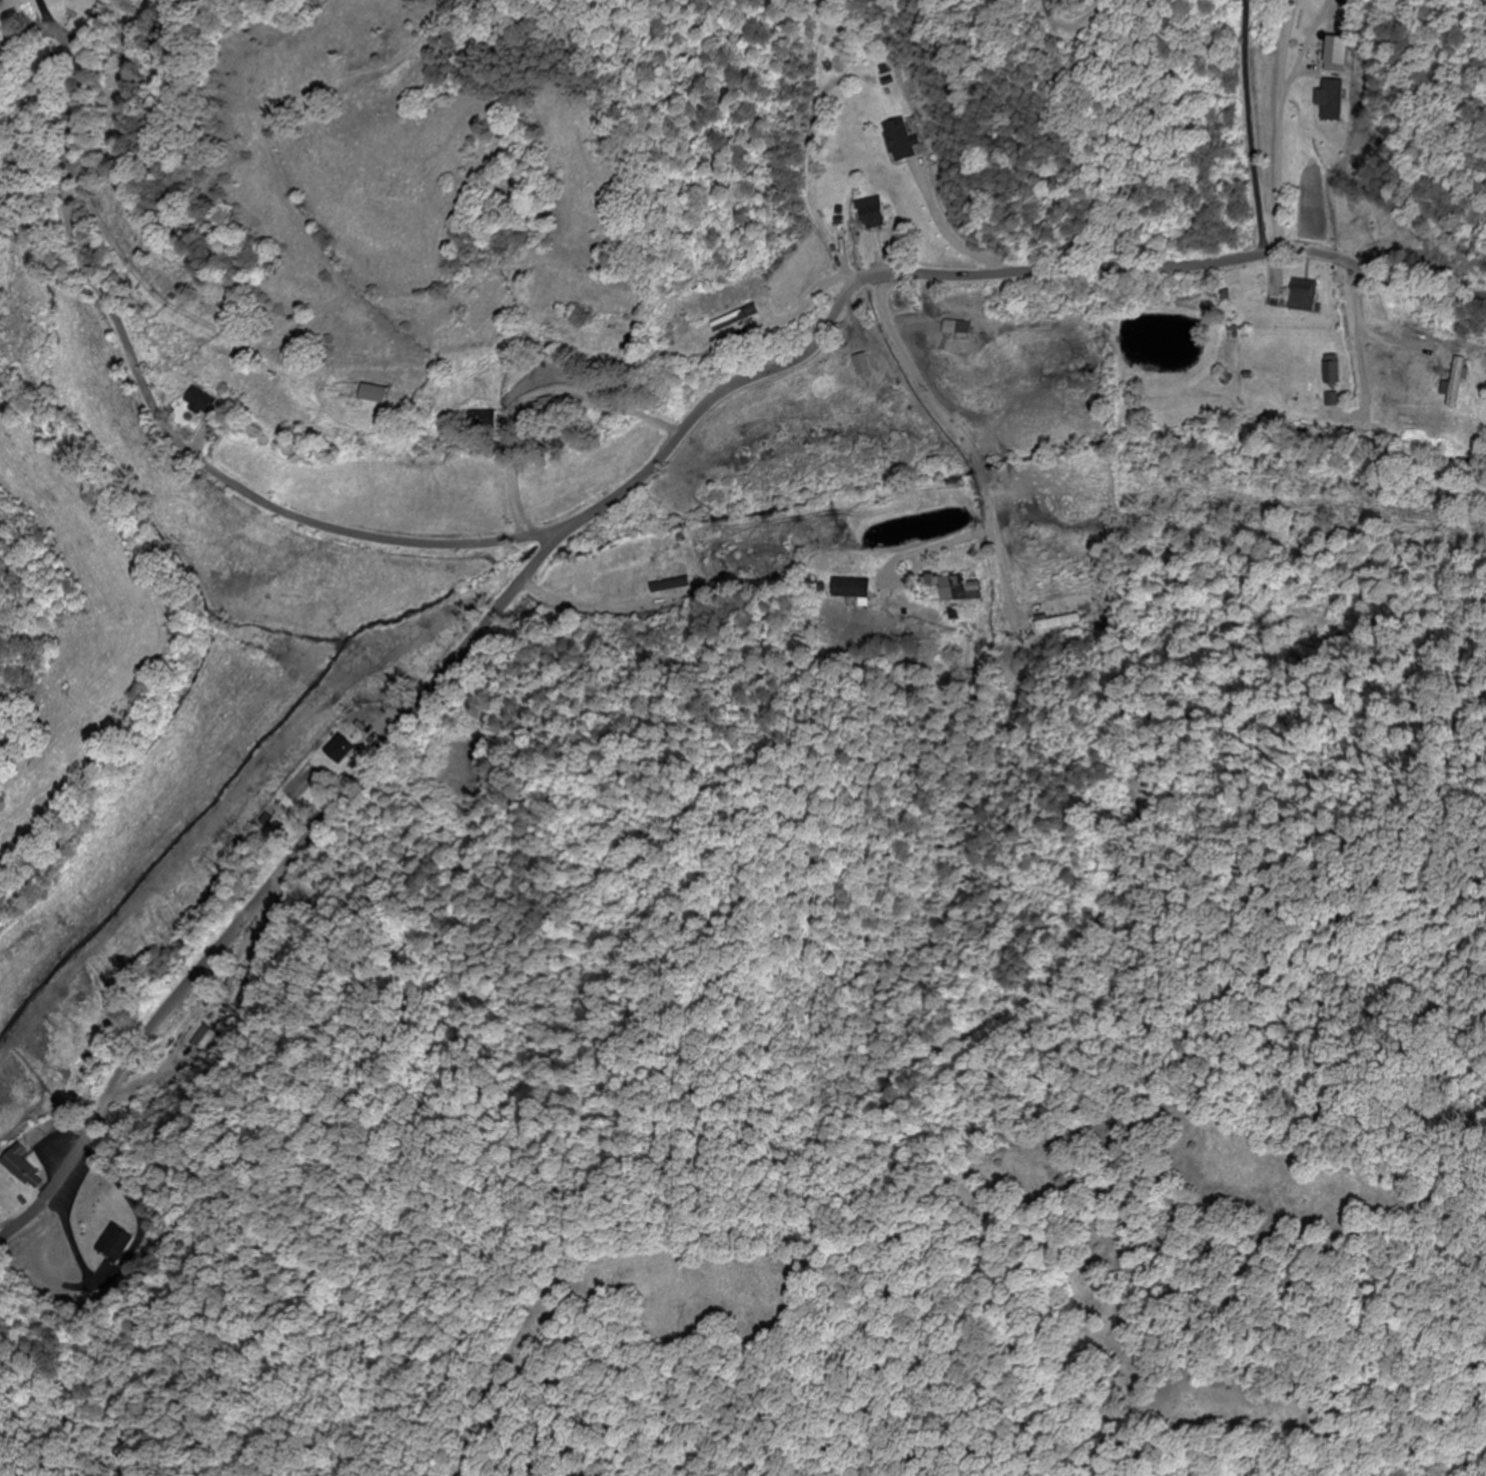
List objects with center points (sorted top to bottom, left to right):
road: (1071, 24)
building: (1338, 63)
road: (1259, 128)
building: (899, 141)
building: (870, 215)
building: (1305, 297)
building: (736, 320)
building: (1332, 371)
building: (1456, 383)
building: (374, 394)
building: (197, 402)
road: (150, 403)
building: (551, 406)
road: (958, 428)
road: (615, 497)
building: (858, 589)
building: (957, 589)
building: (667, 590)
building: (1059, 623)
building: (1026, 632)
building: (339, 751)
building: (263, 820)
building: (232, 984)
building: (201, 1040)
building: (24, 1170)
building: (114, 1245)

